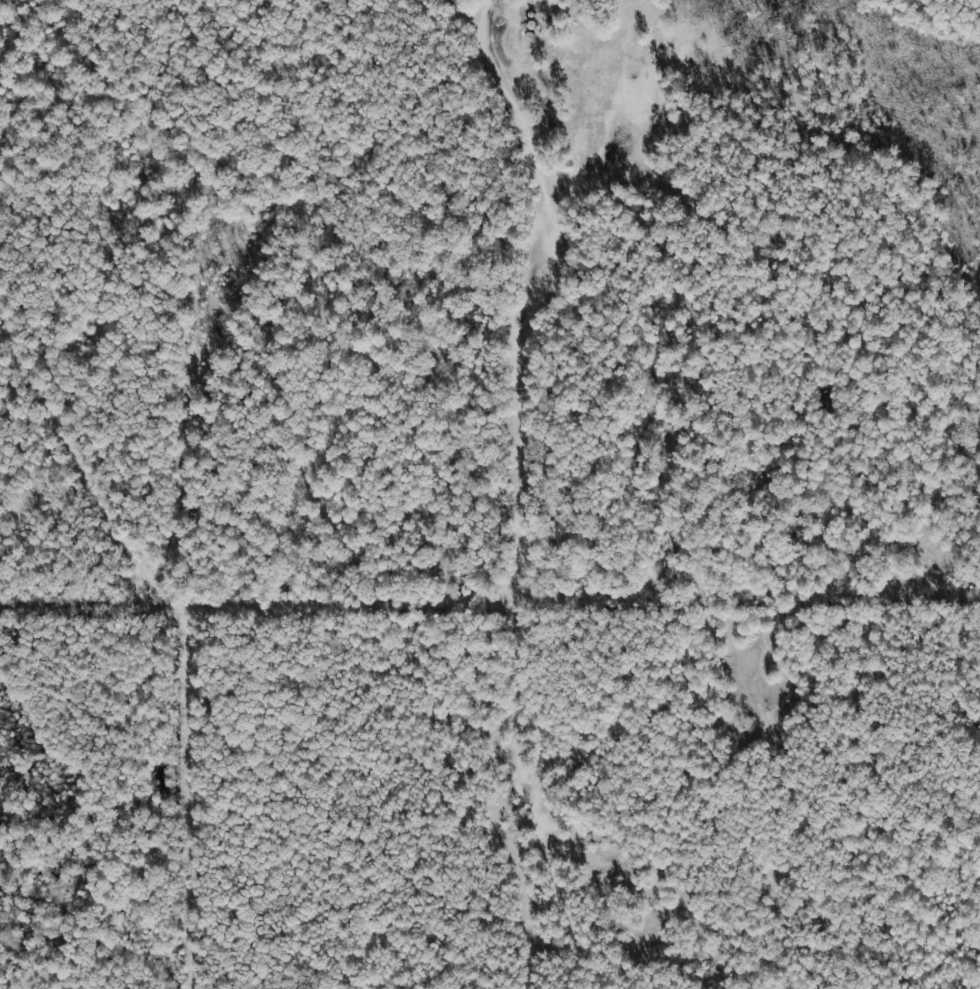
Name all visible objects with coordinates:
road: (548, 296)
road: (248, 598)

